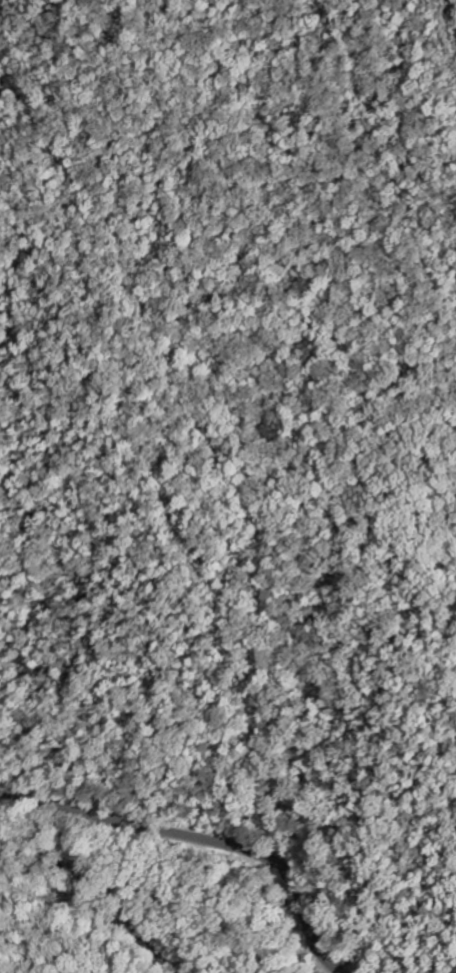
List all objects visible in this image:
road: (202, 834)
road: (2, 963)

